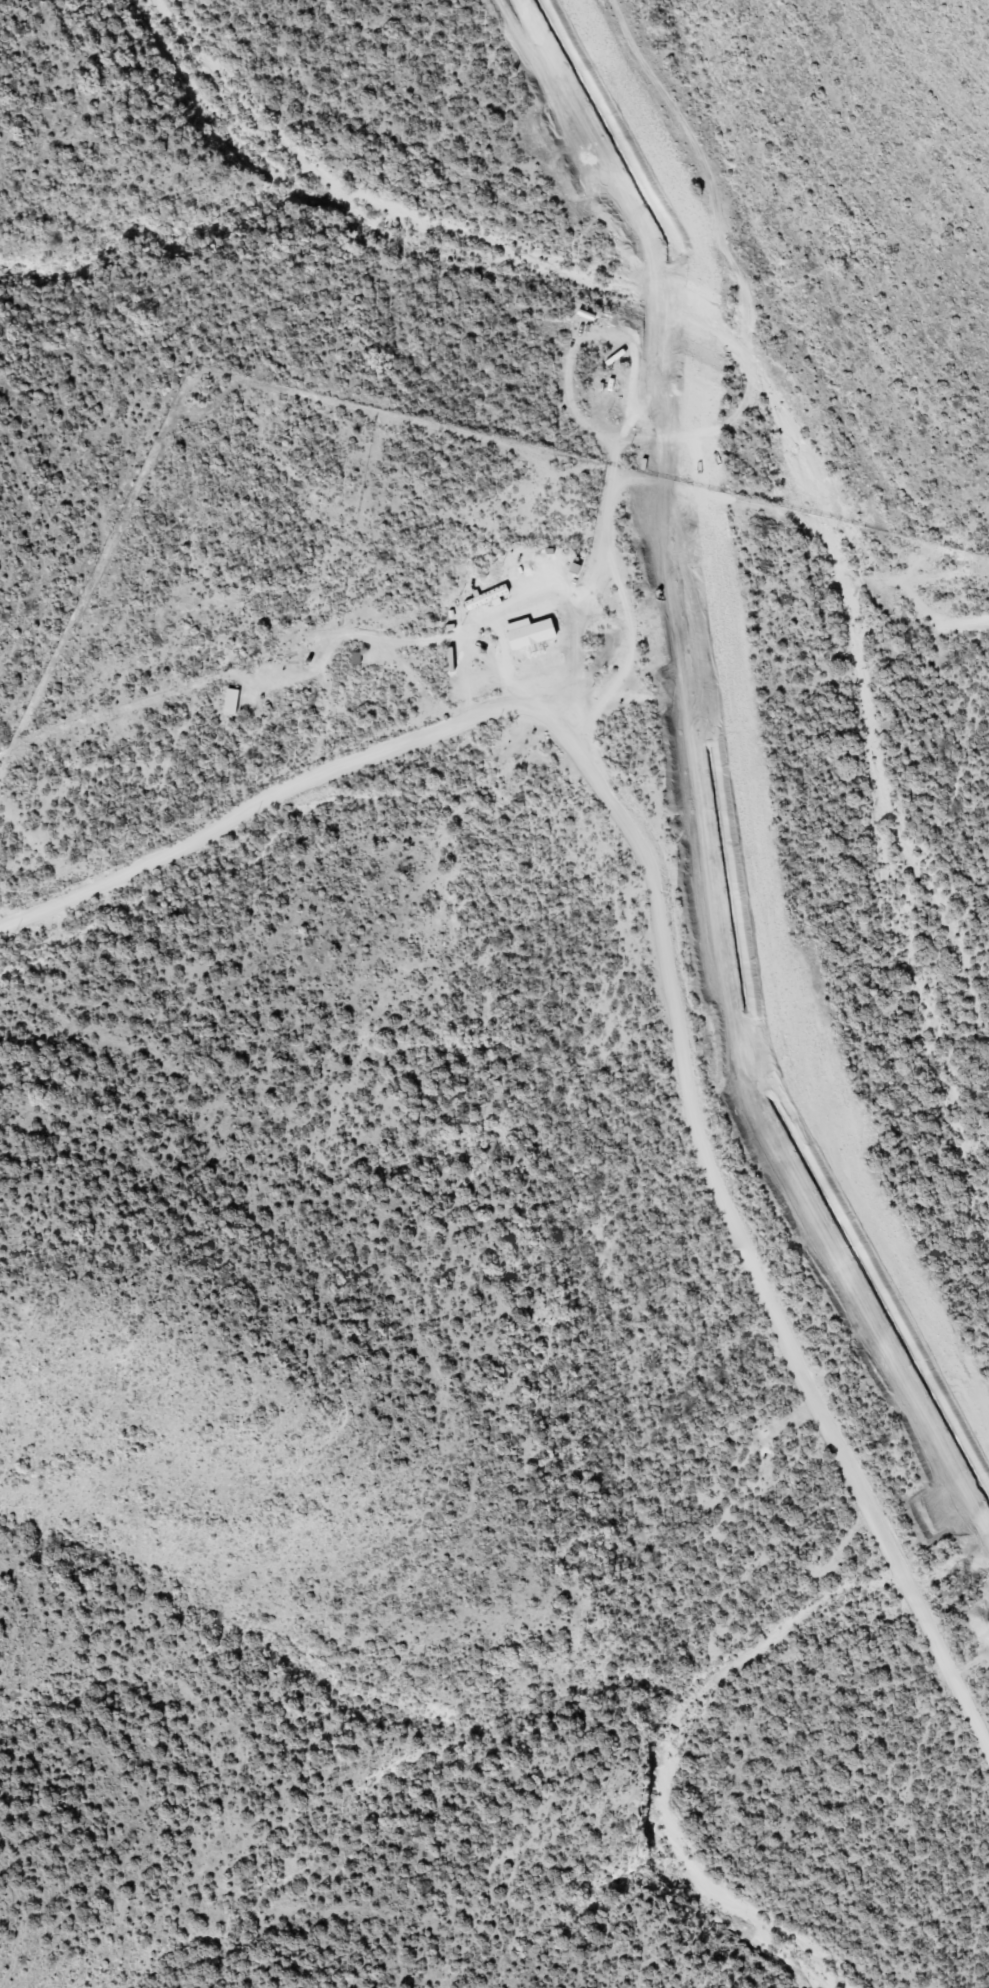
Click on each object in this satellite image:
road: (592, 578)
road: (603, 661)
building: (234, 702)
road: (737, 1209)

